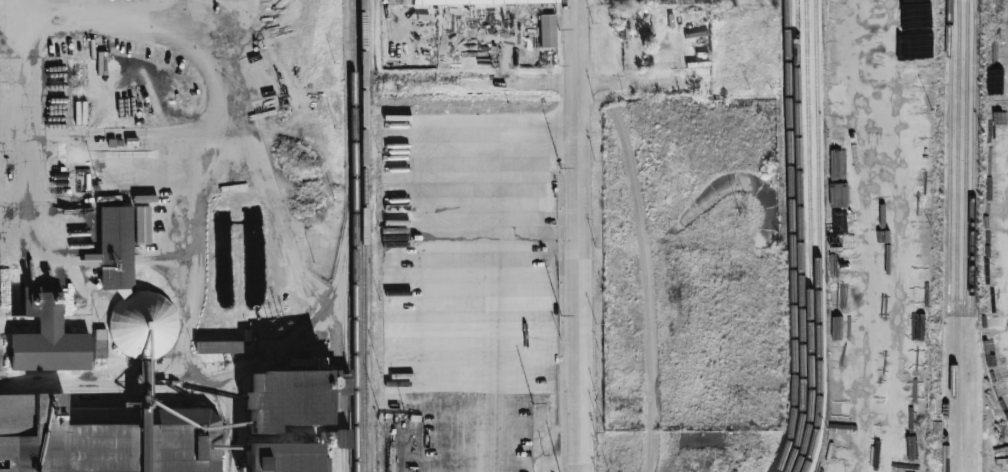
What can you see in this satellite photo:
building: (474, 2)
road: (237, 9)
building: (547, 31)
road: (214, 69)
road: (578, 84)
road: (28, 126)
building: (142, 225)
road: (577, 235)
railway: (947, 235)
railway: (970, 235)
railway: (363, 236)
railway: (817, 236)
railway: (955, 236)
railway: (963, 236)
railway: (792, 237)
railway: (800, 237)
railway: (809, 237)
road: (491, 261)
road: (648, 286)
building: (130, 292)
railway: (312, 320)
railway: (355, 322)
building: (46, 335)
building: (100, 343)
building: (218, 347)
railway: (343, 349)
railway: (135, 389)
building: (286, 400)
building: (343, 438)
building: (282, 457)
road: (491, 464)

